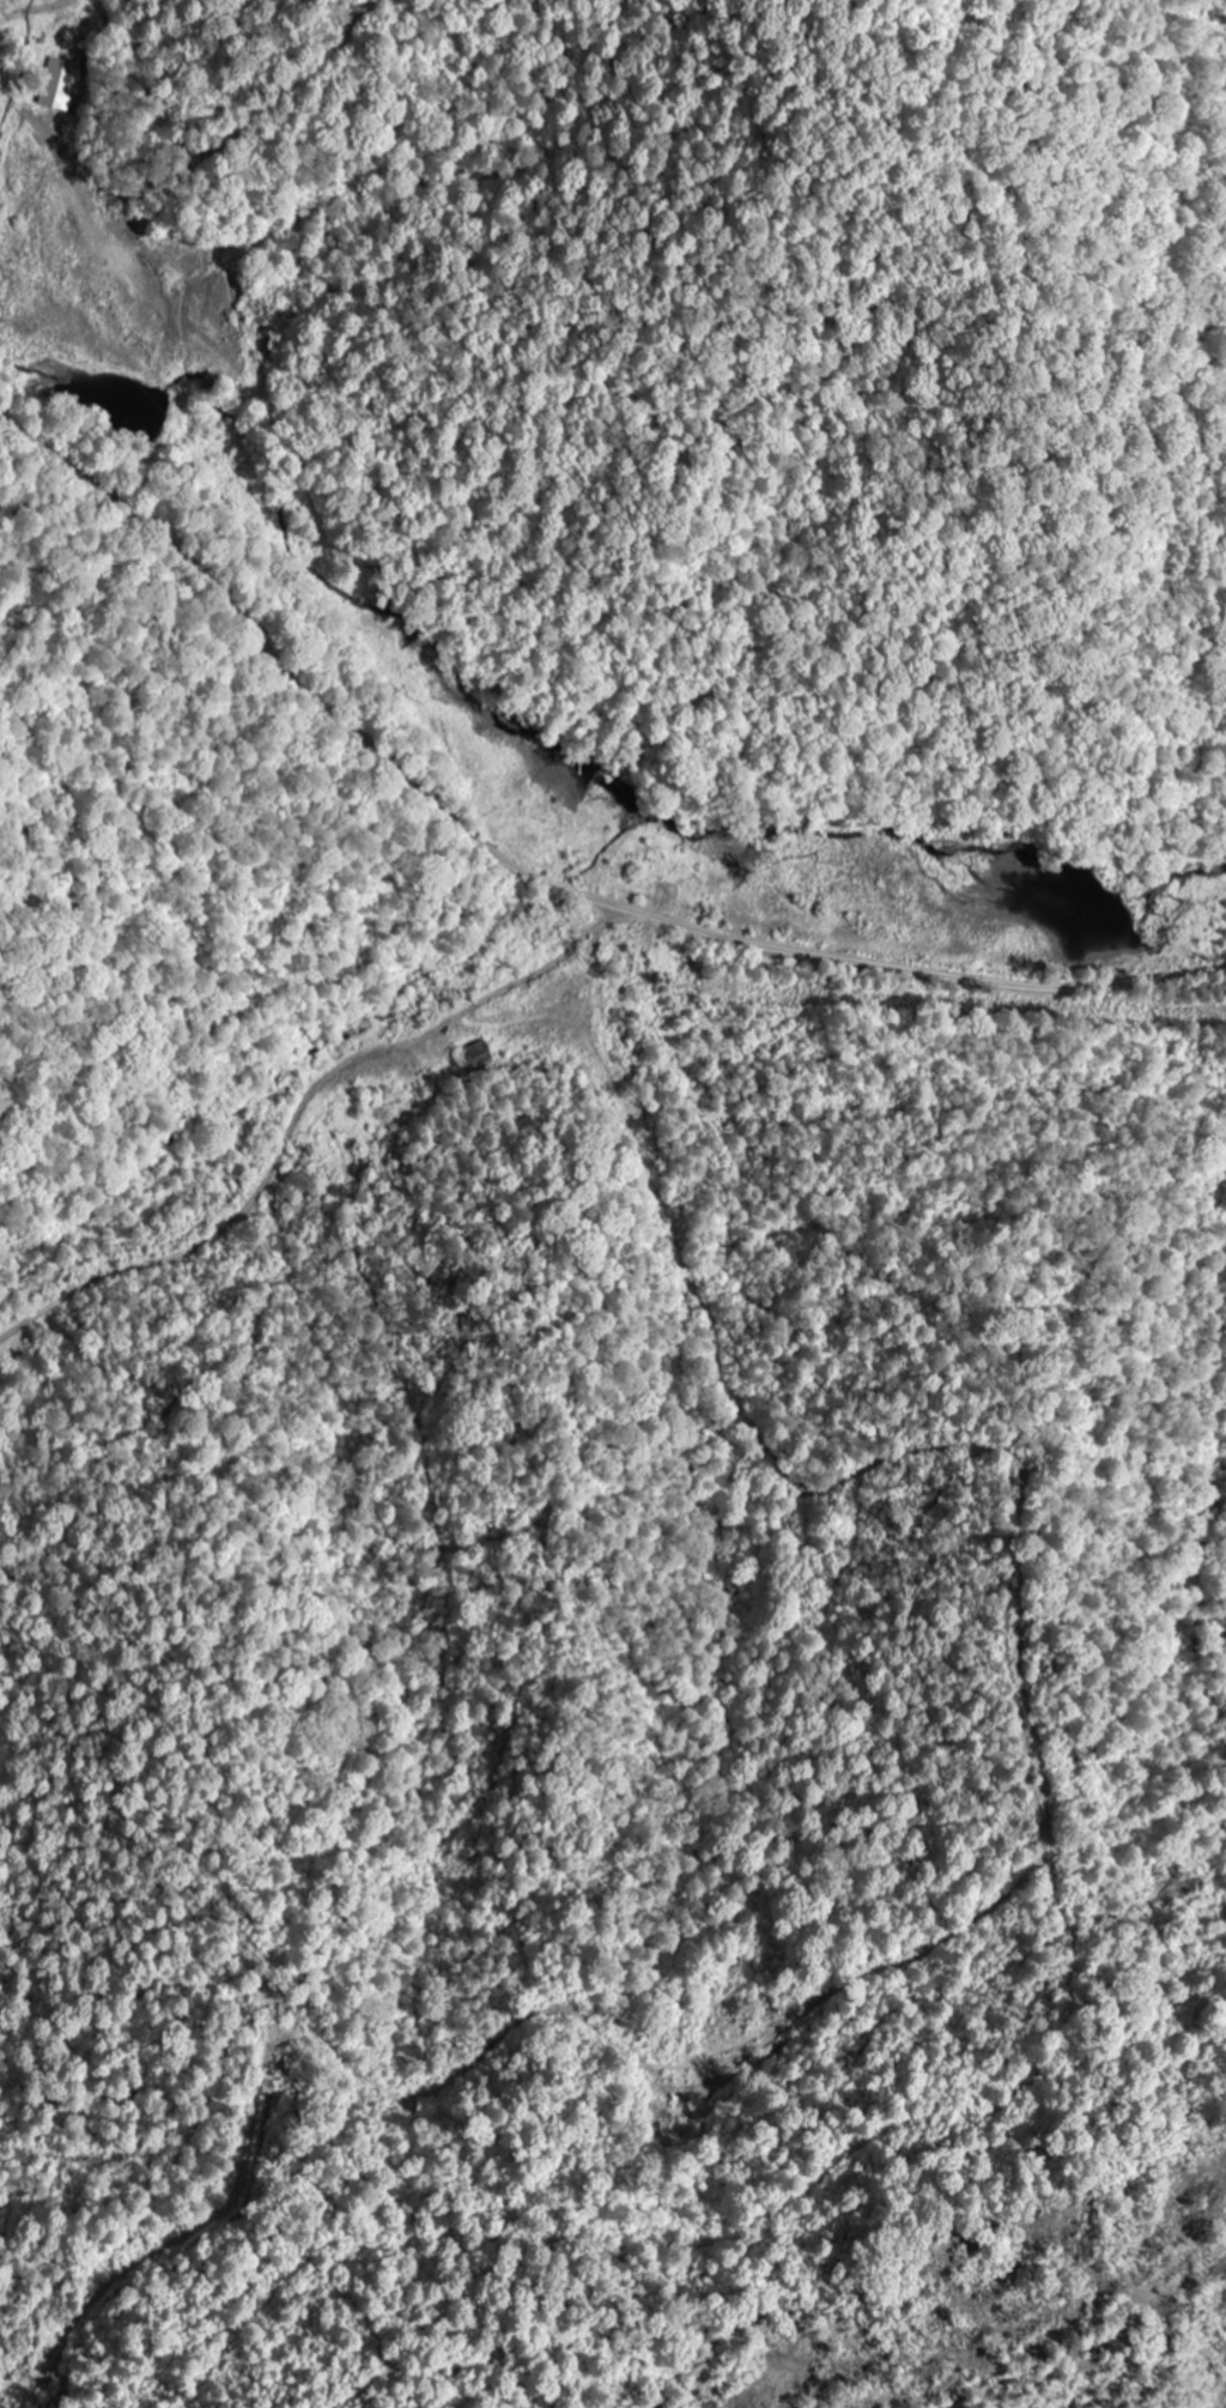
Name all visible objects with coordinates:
building: (60, 85)
road: (530, 875)
road: (328, 1137)

